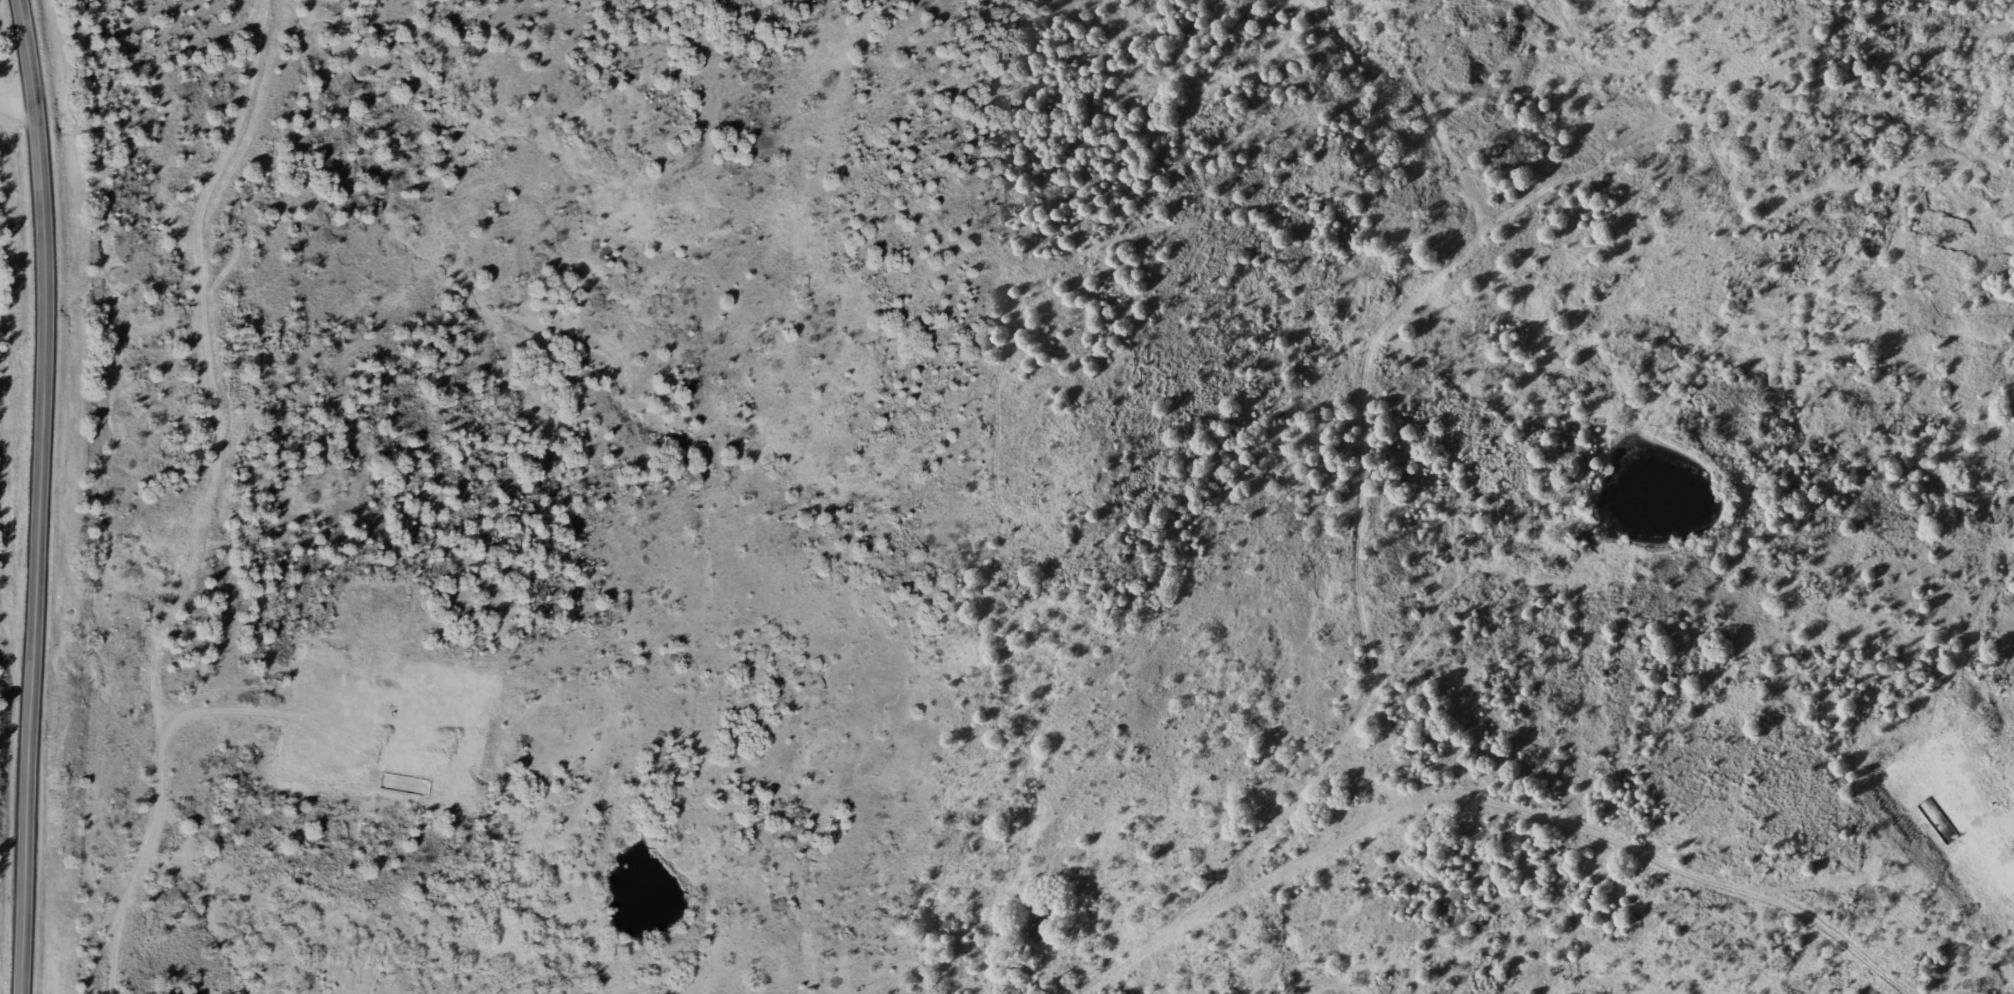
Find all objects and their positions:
road: (18, 96)
road: (1712, 247)
road: (35, 496)

